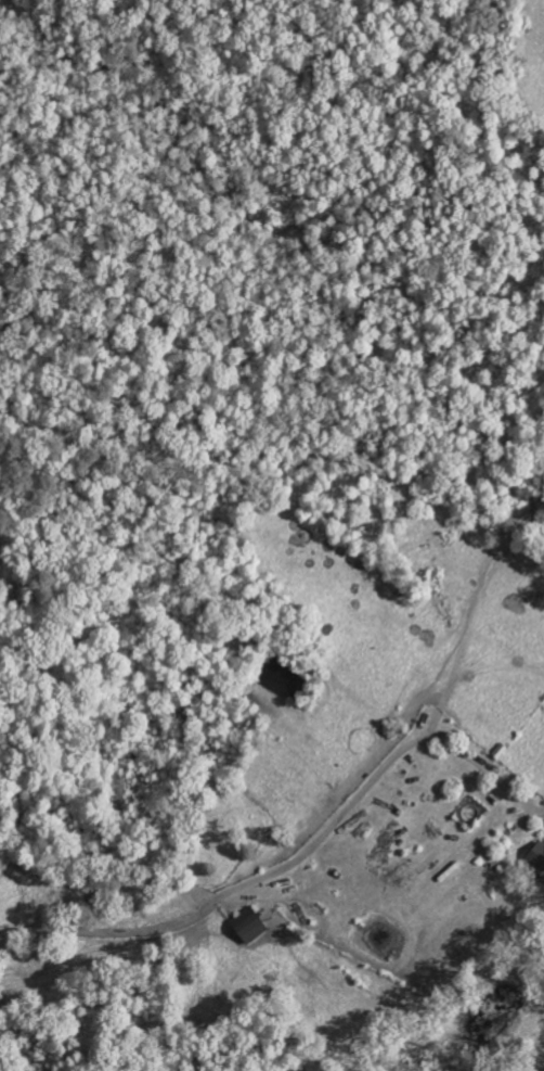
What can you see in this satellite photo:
building: (255, 923)

